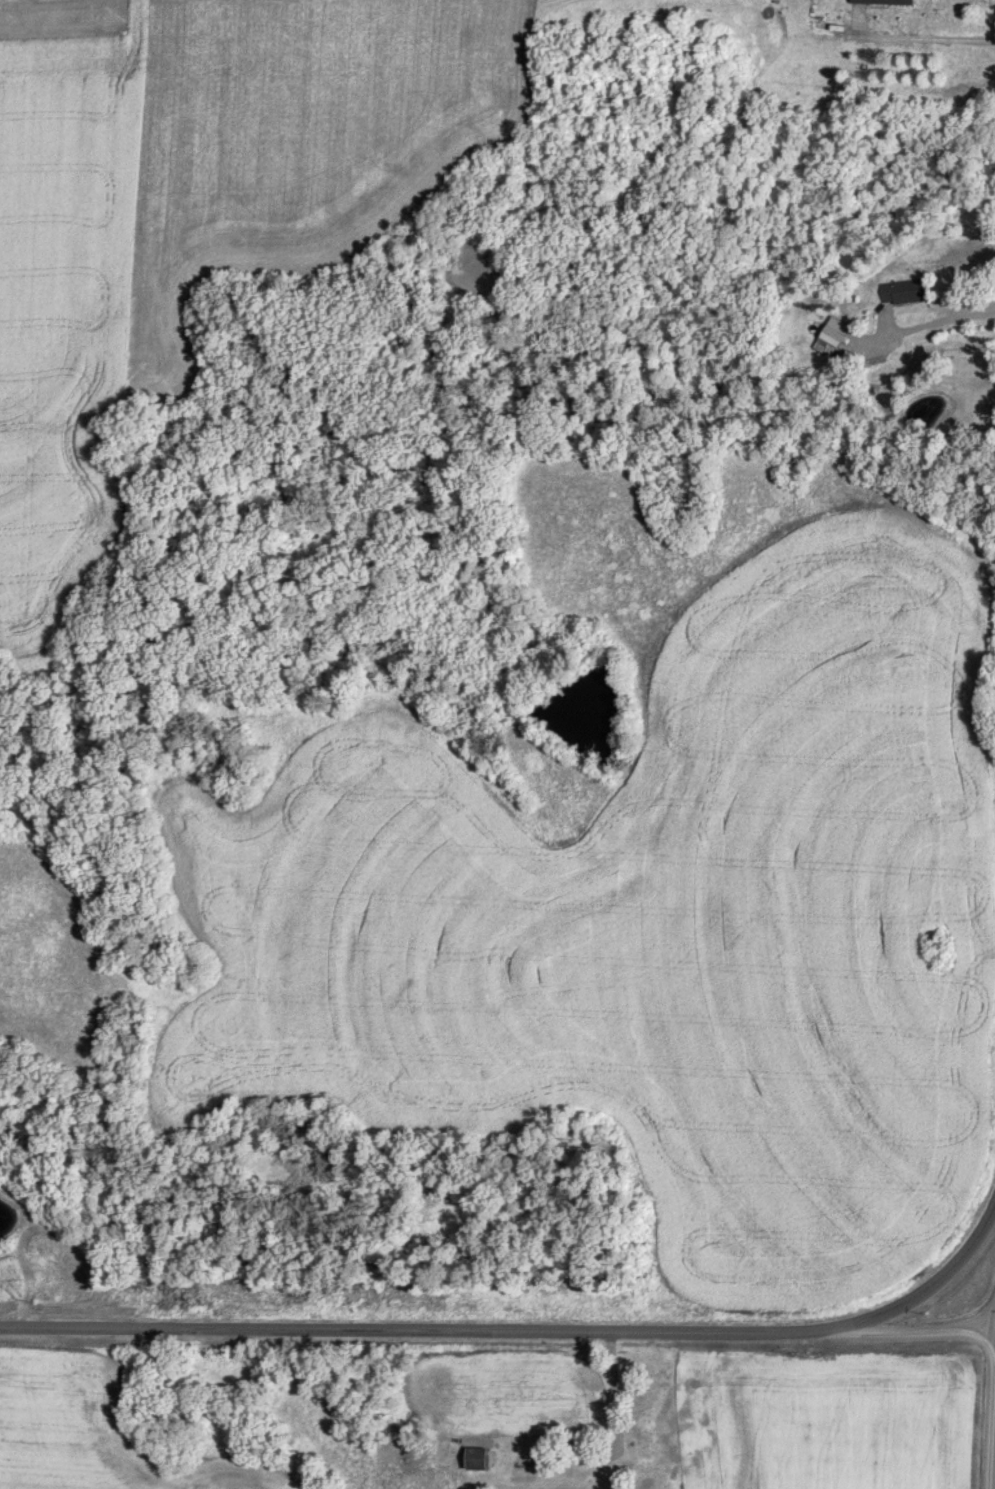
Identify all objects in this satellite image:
building: (884, 2)
road: (926, 36)
building: (904, 291)
road: (922, 326)
building: (835, 333)
building: (989, 408)
road: (523, 1329)
road: (898, 1333)
road: (616, 1402)
road: (990, 1405)
building: (649, 1424)

